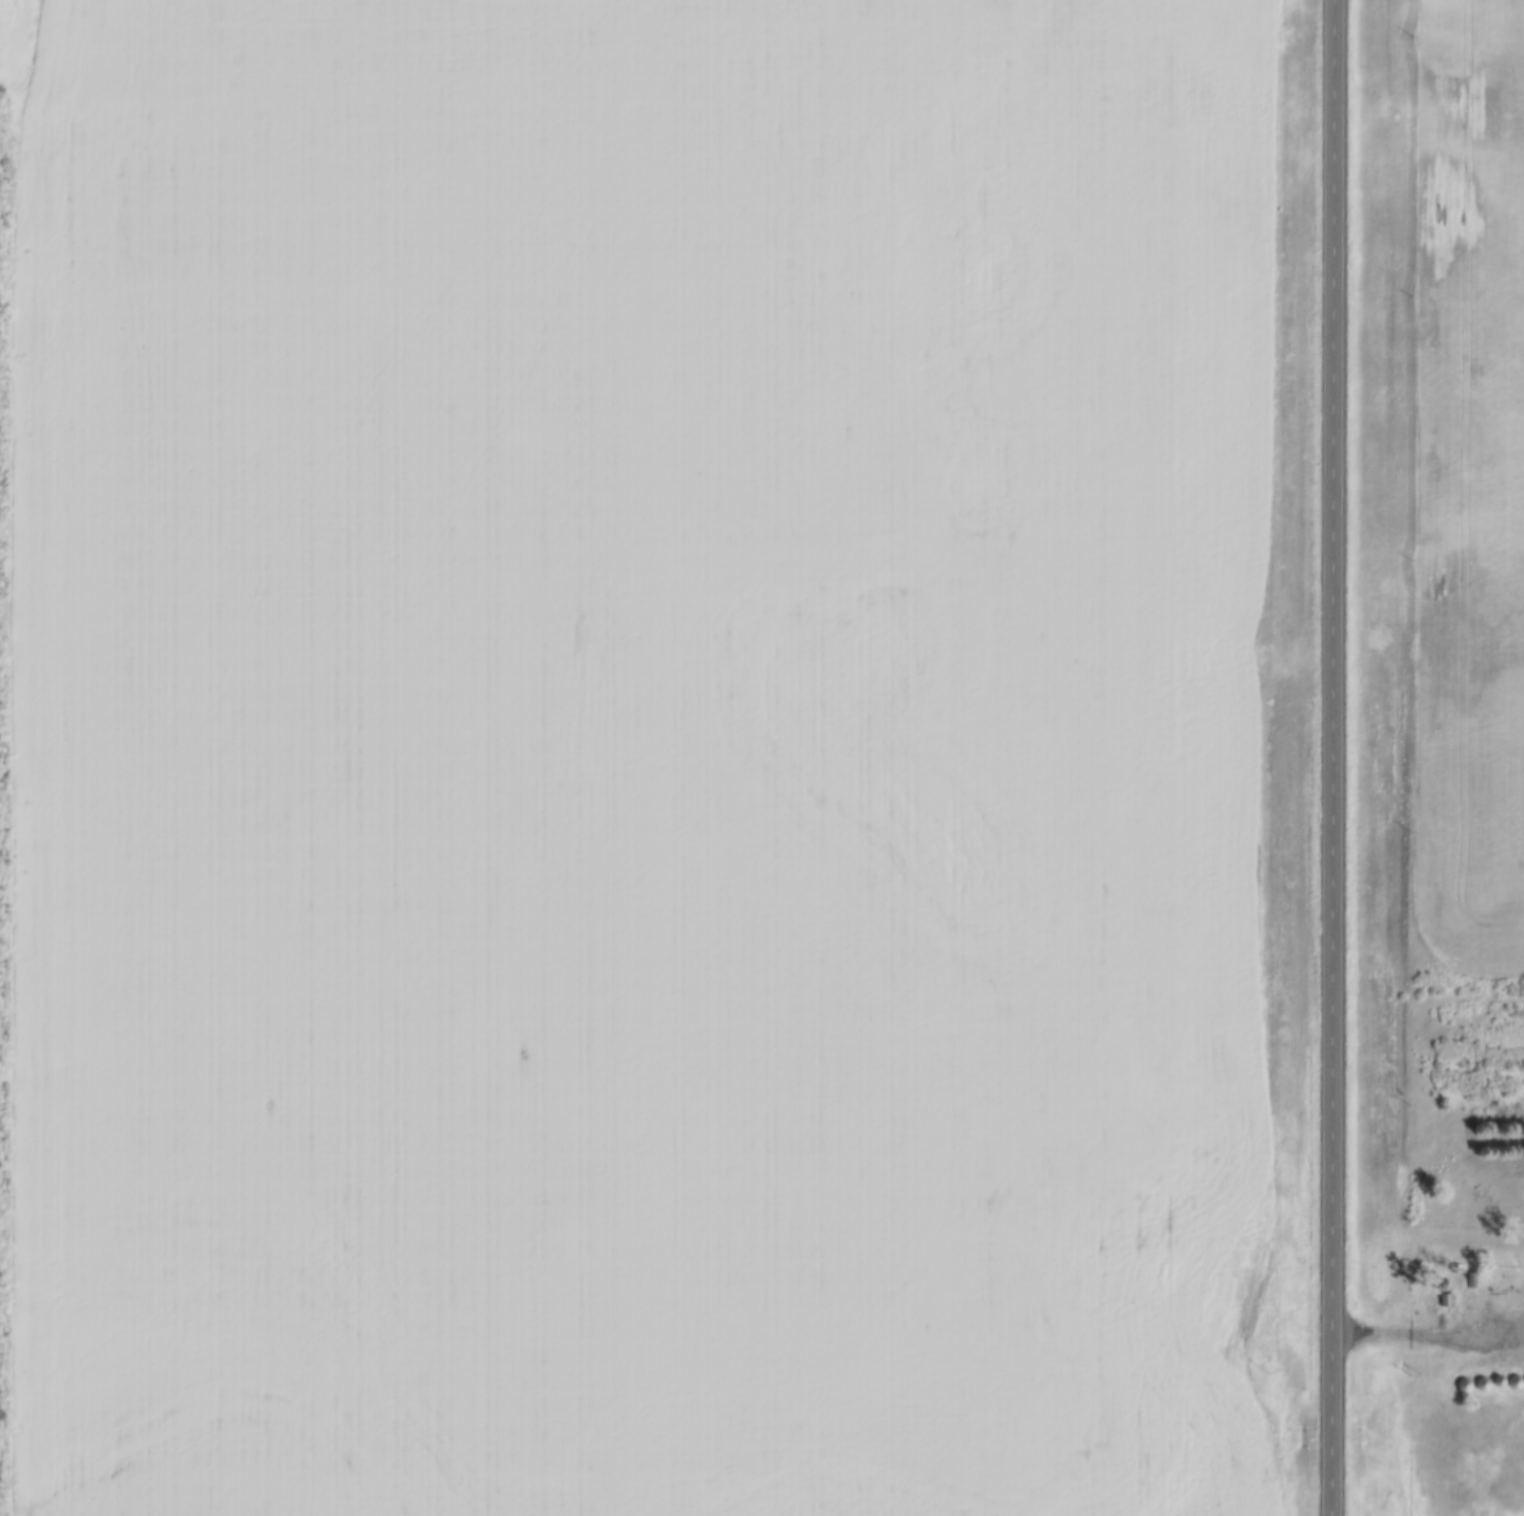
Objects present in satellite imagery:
road: (1328, 757)
building: (1449, 1300)
road: (1425, 1330)

